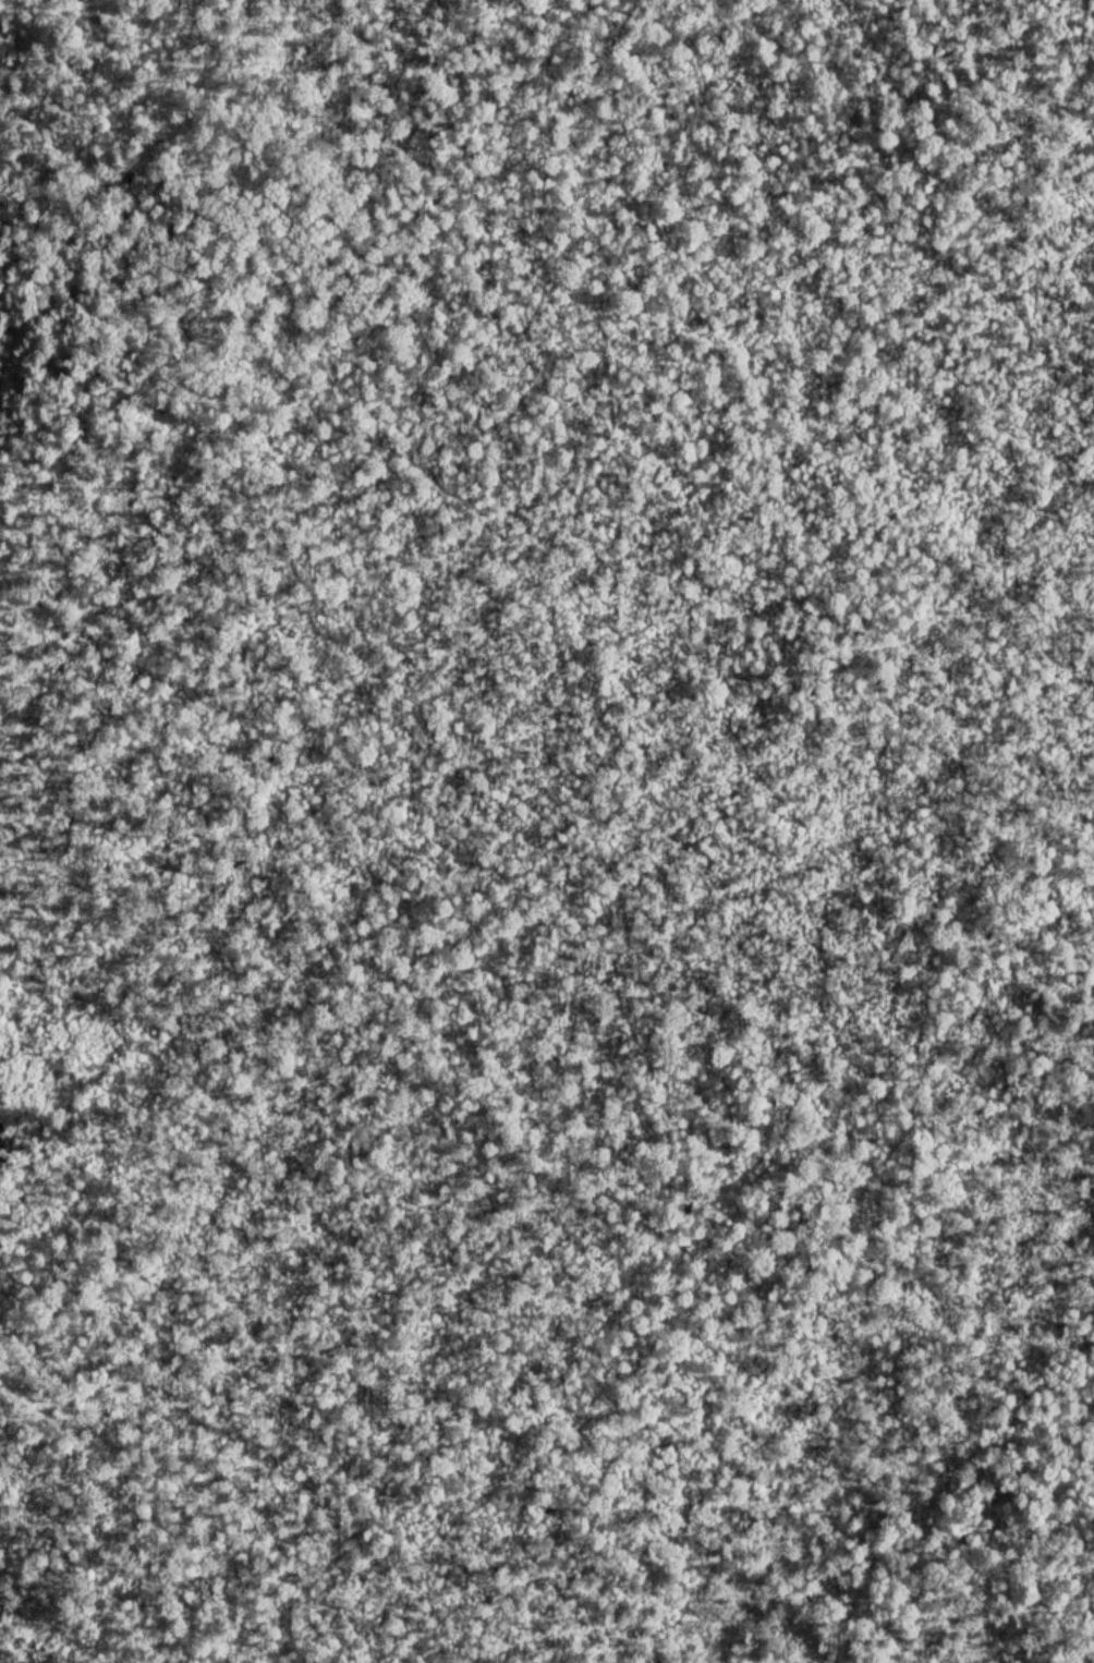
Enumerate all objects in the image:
river: (9, 1162)

